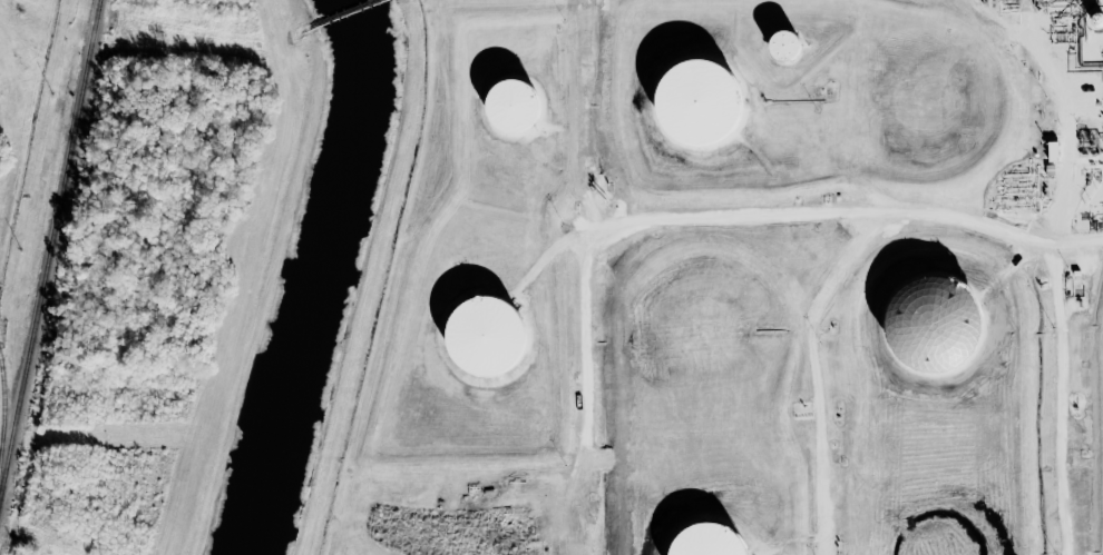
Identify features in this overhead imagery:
building: (784, 44)
storage tank: (784, 44)
road: (1028, 44)
building: (699, 102)
storage tank: (699, 102)
building: (513, 106)
storage tank: (513, 106)
road: (685, 218)
railway: (48, 245)
road: (550, 250)
road: (1014, 261)
building: (933, 324)
storage tank: (933, 324)
road: (1060, 329)
building: (486, 335)
storage tank: (486, 335)
road: (814, 375)
railway: (3, 409)
building: (707, 541)
storage tank: (707, 541)

